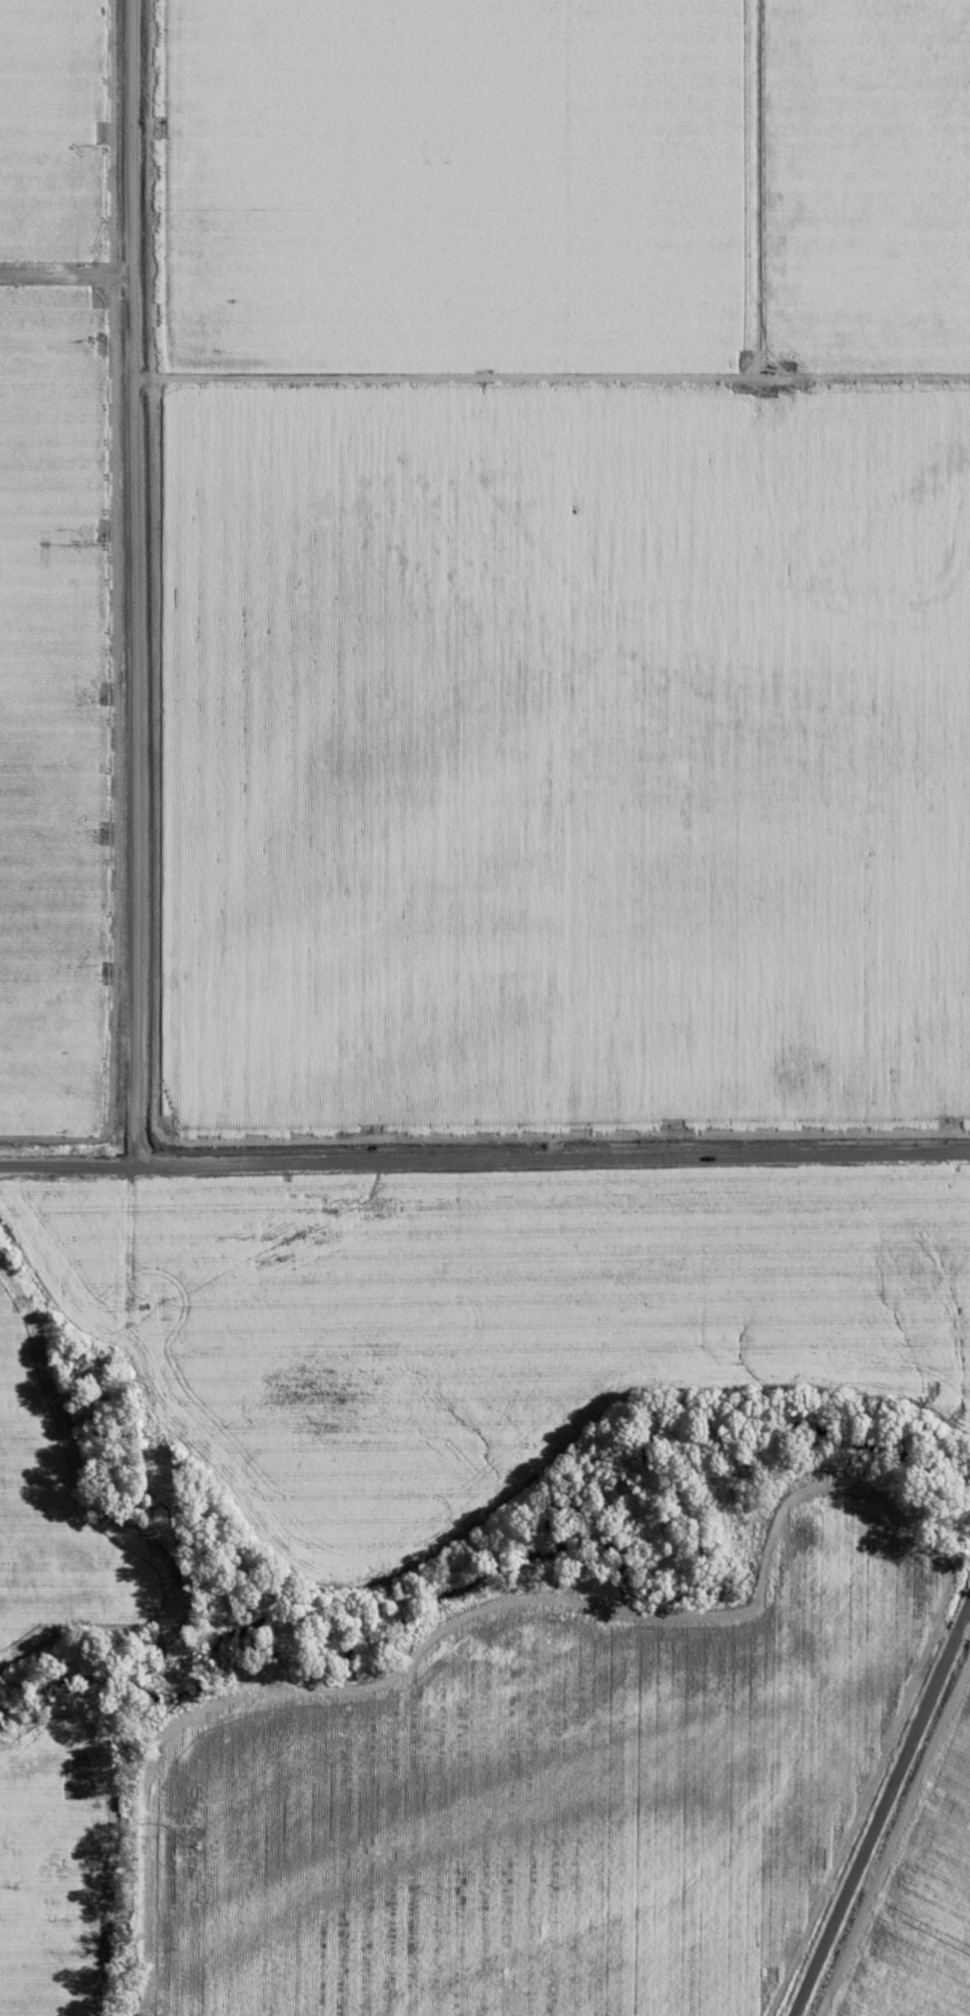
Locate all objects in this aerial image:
road: (129, 583)
road: (485, 1161)
road: (880, 1808)

